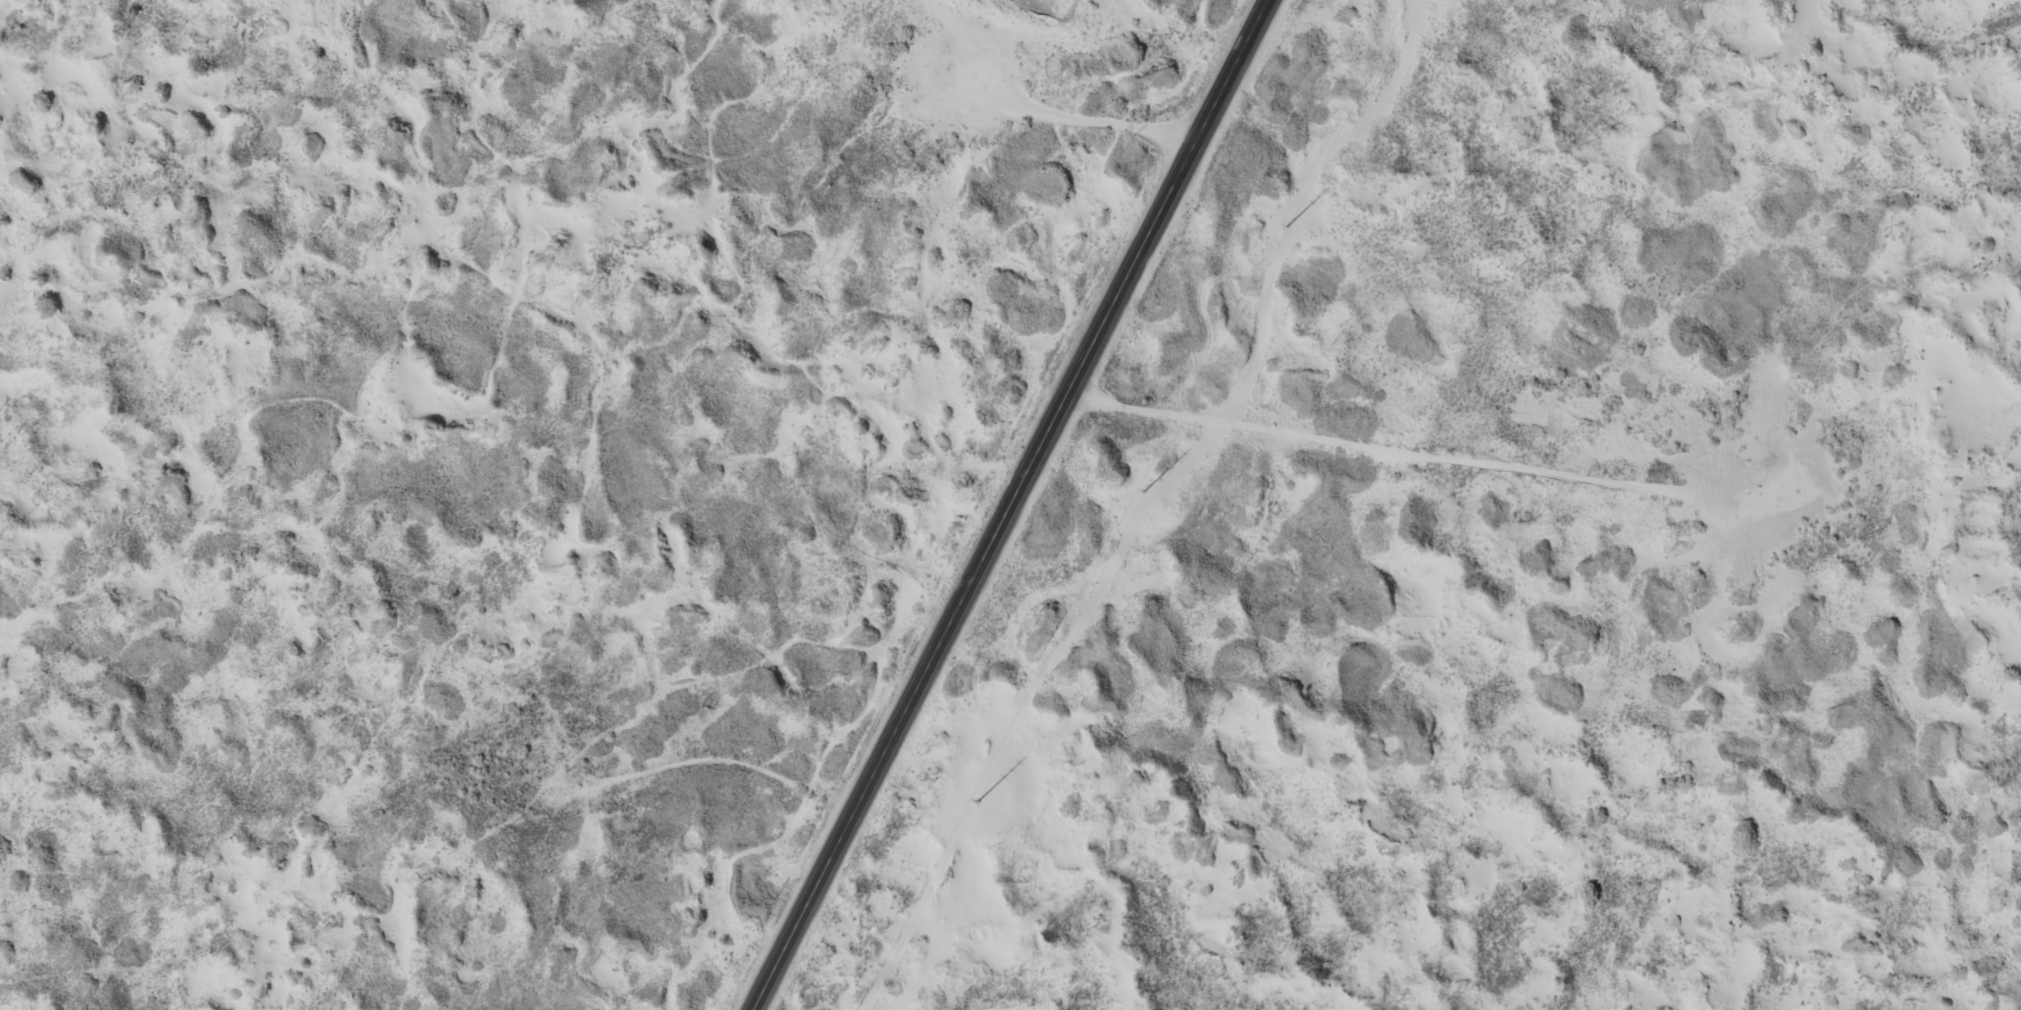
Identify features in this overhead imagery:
power tower: (1303, 234)
power tower: (1160, 502)
road: (1011, 505)
power tower: (993, 814)

